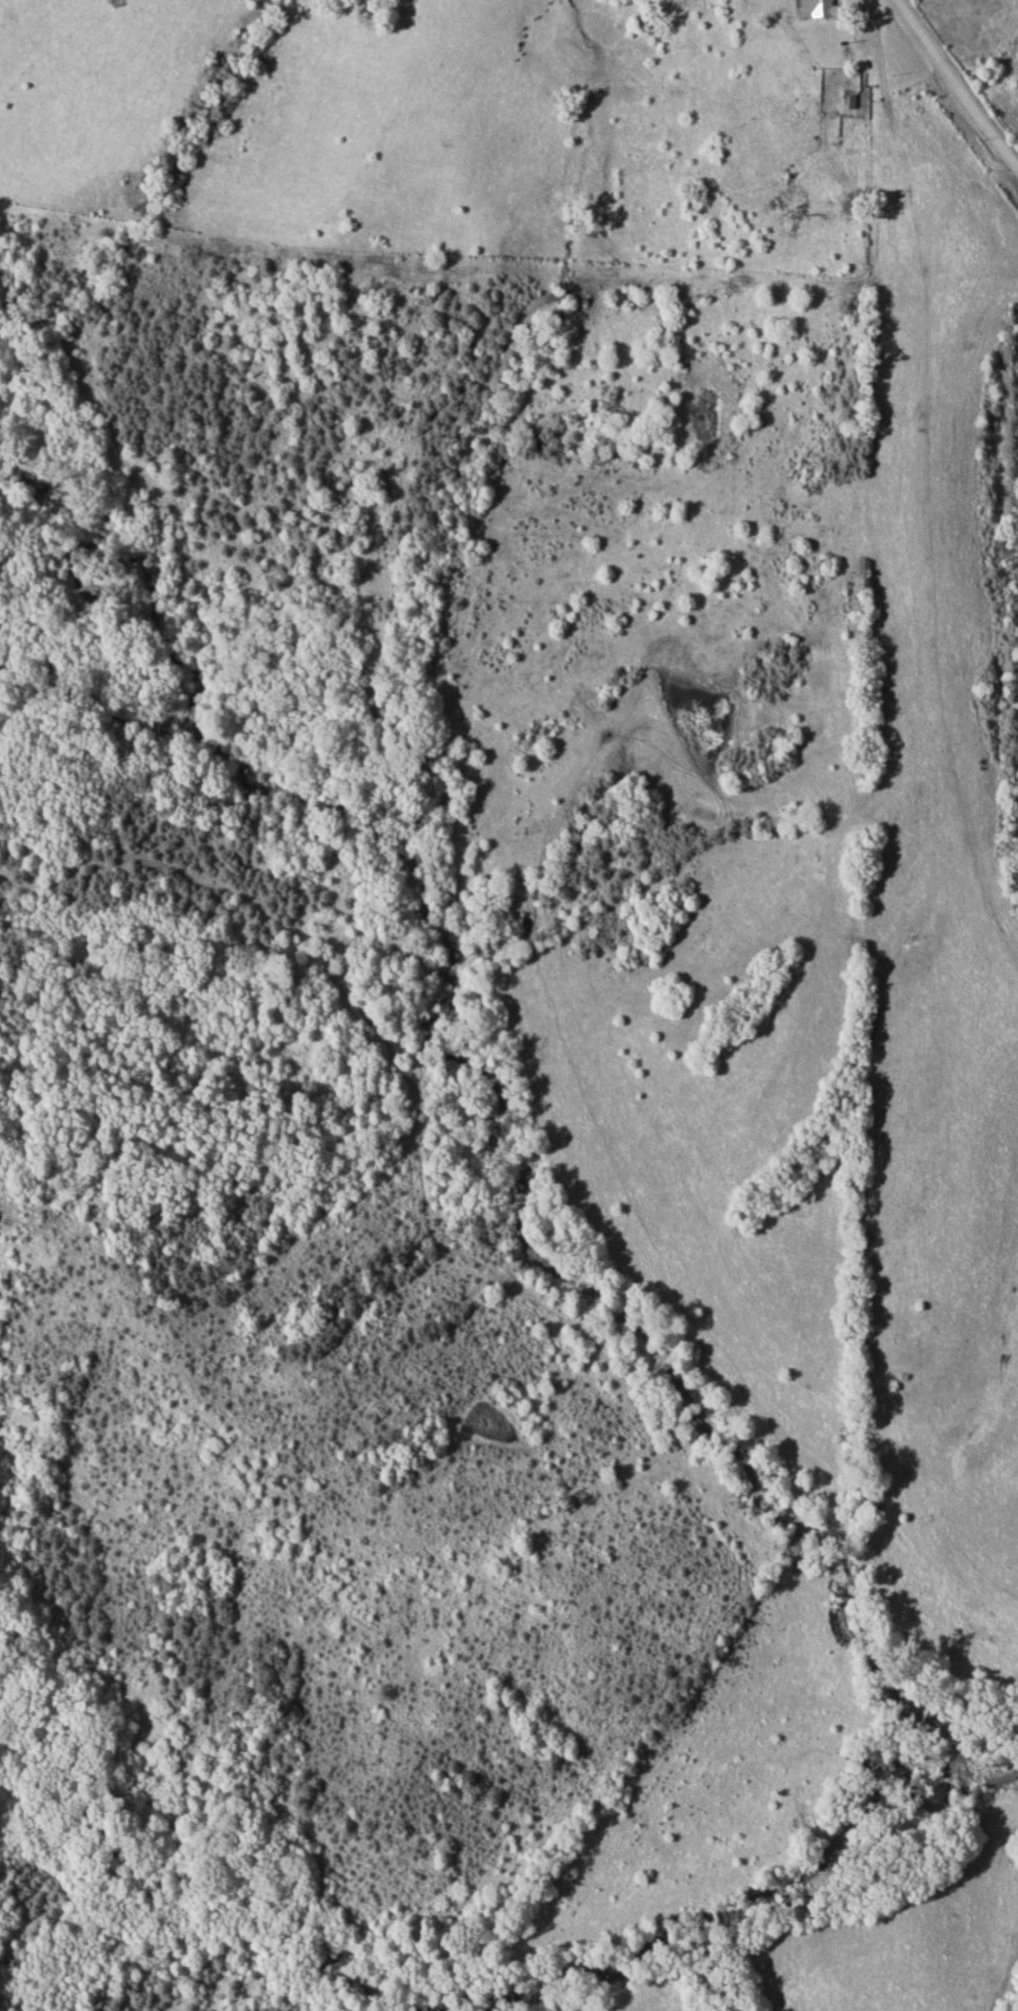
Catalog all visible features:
building: (823, 8)
road: (956, 82)
building: (791, 201)

